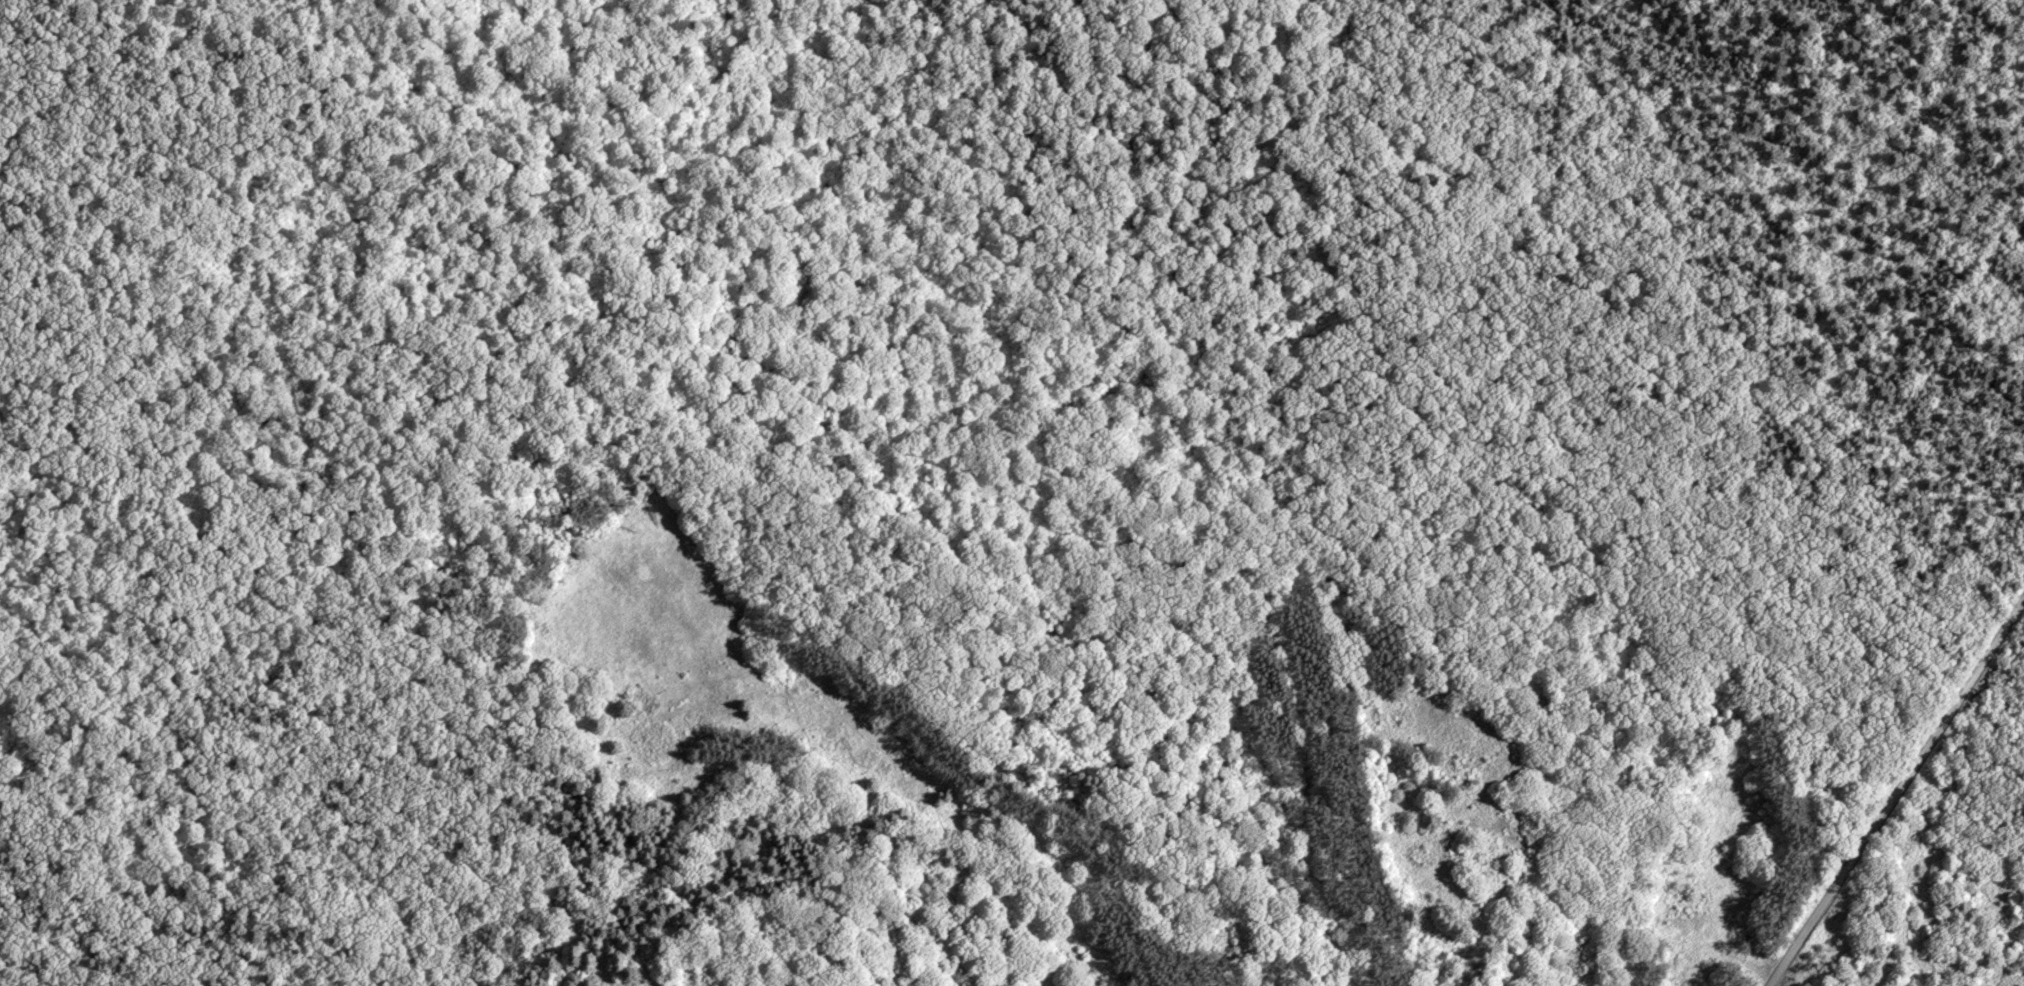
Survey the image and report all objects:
road: (1896, 792)
road: (1778, 981)

